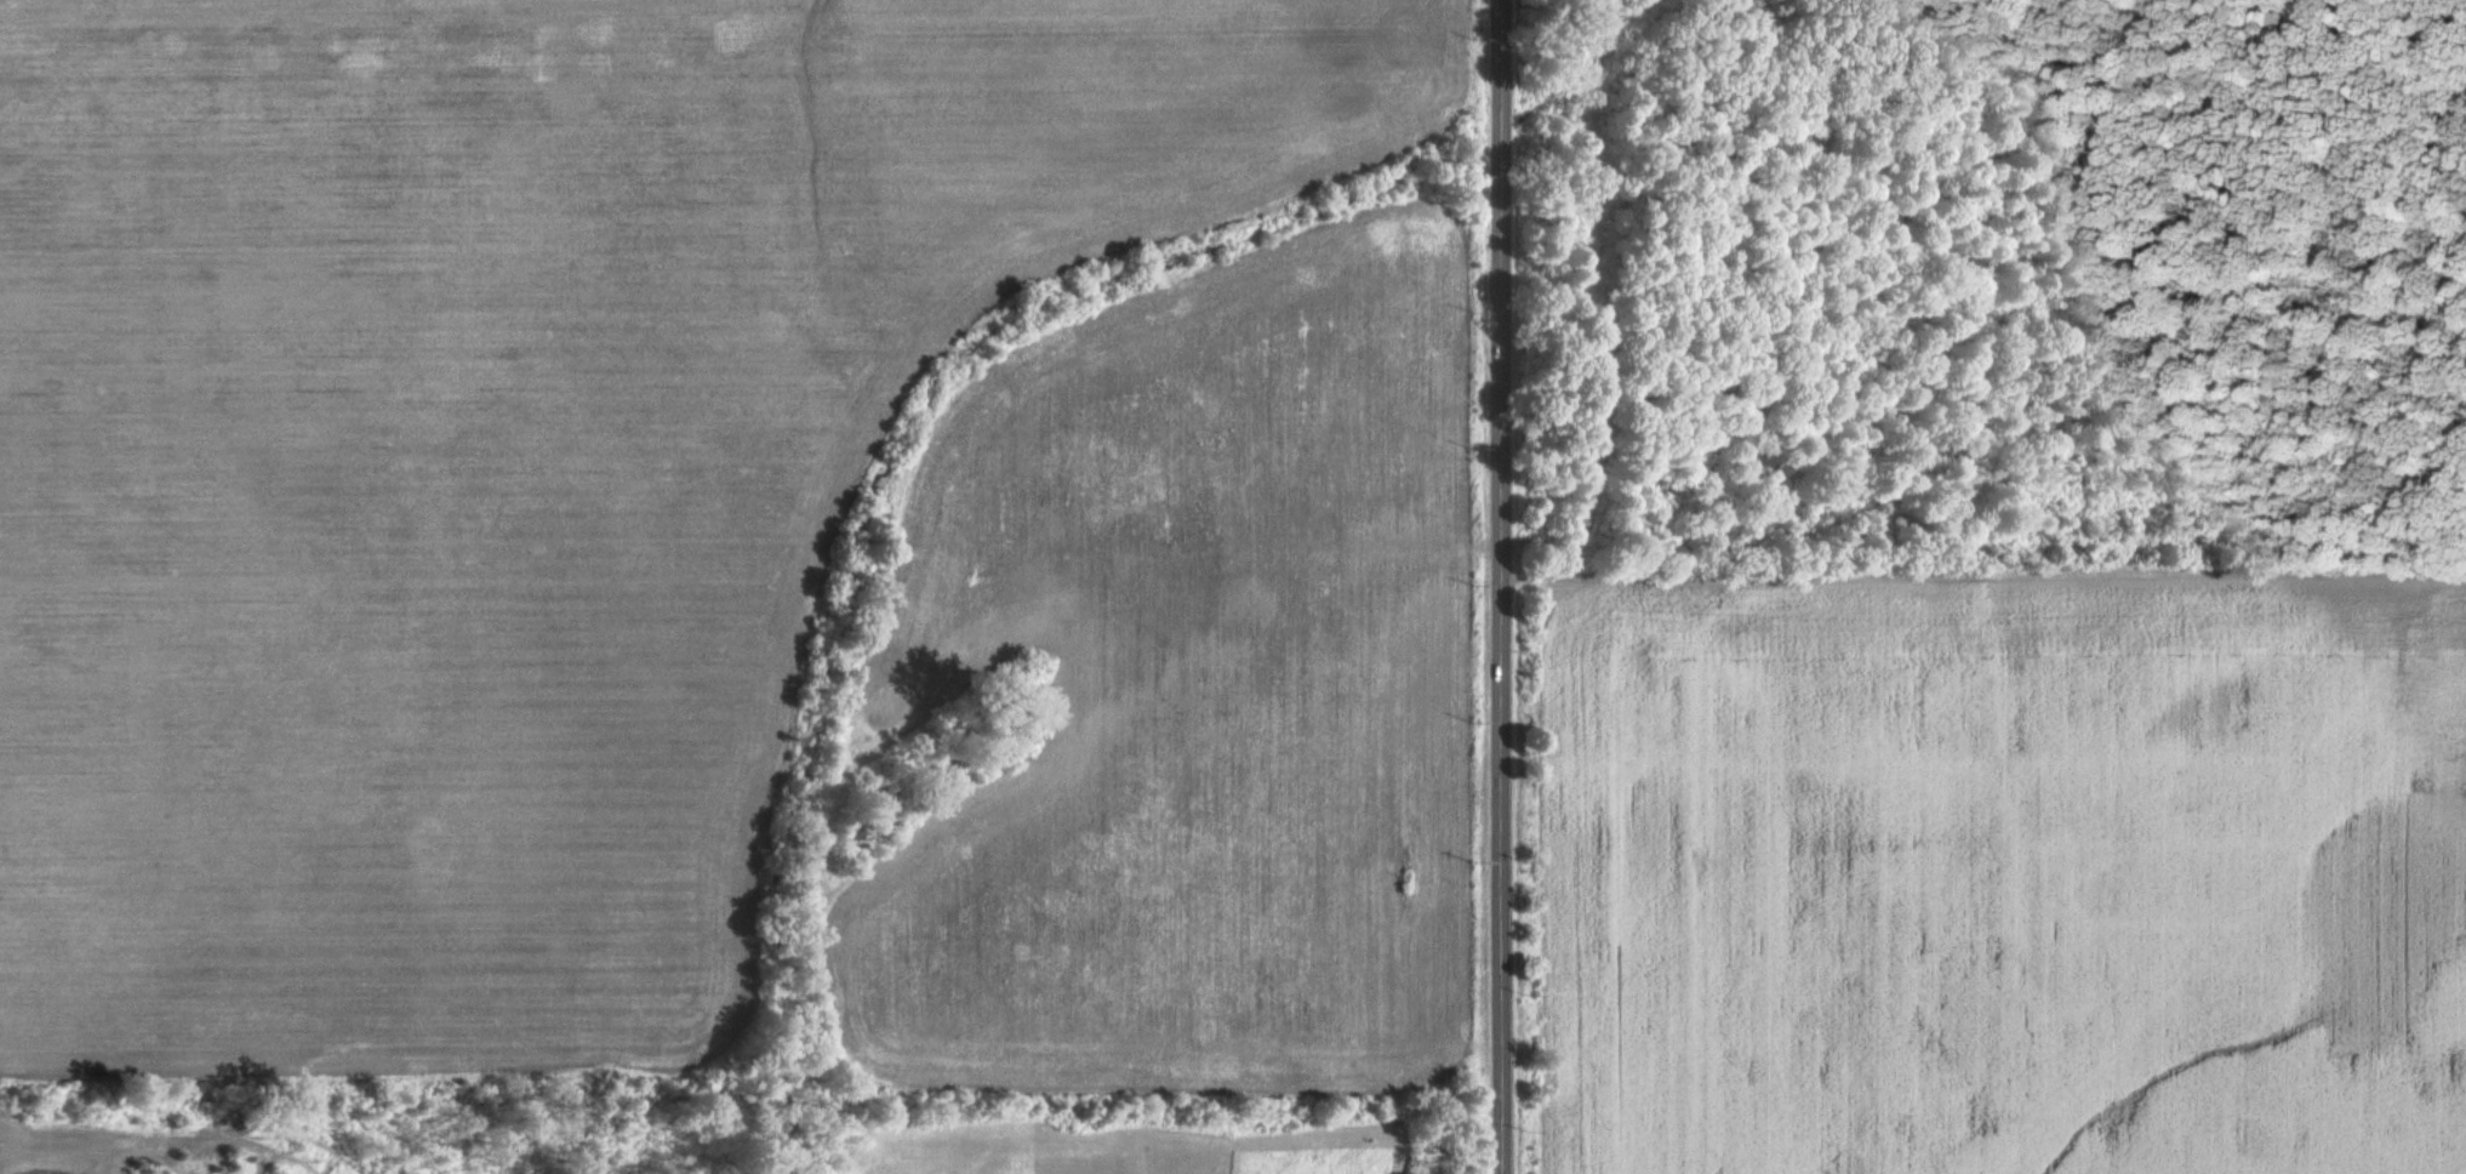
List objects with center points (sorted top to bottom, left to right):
road: (1497, 586)

